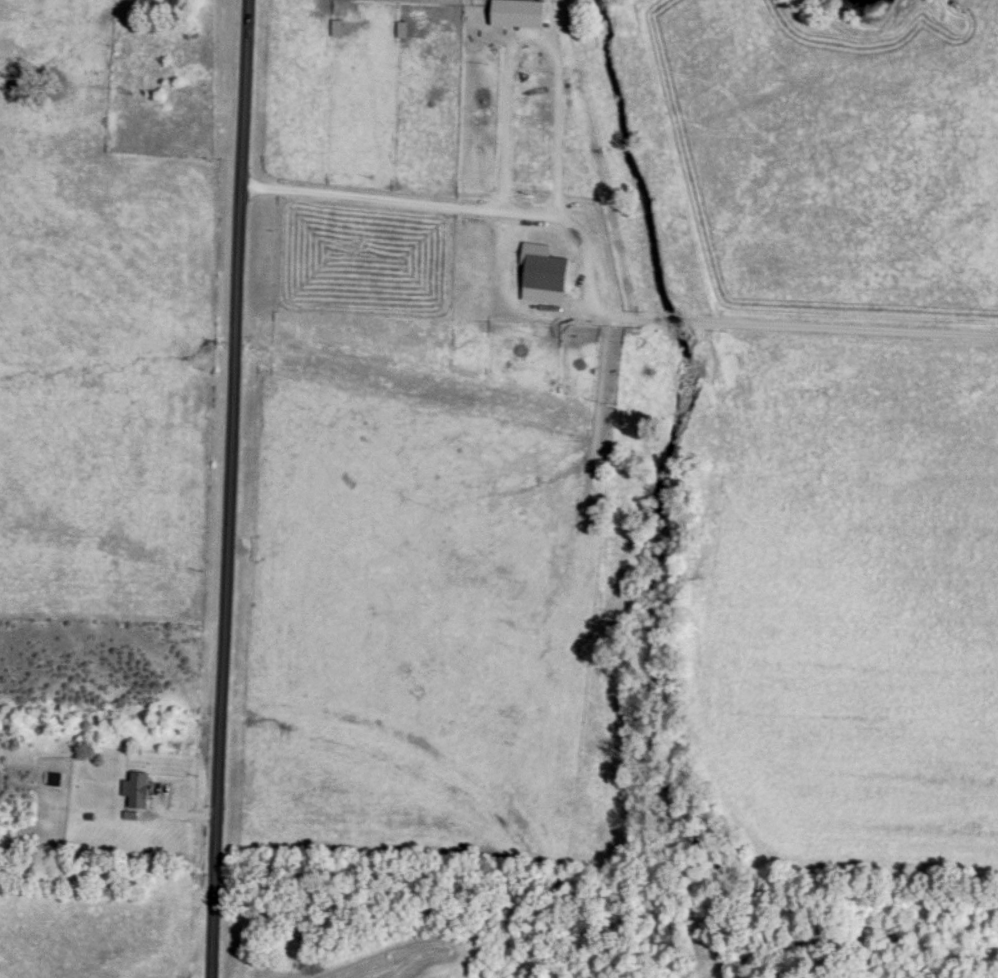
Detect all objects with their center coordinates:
building: (518, 9)
road: (529, 37)
building: (545, 274)
road: (592, 304)
road: (238, 489)
building: (137, 790)

